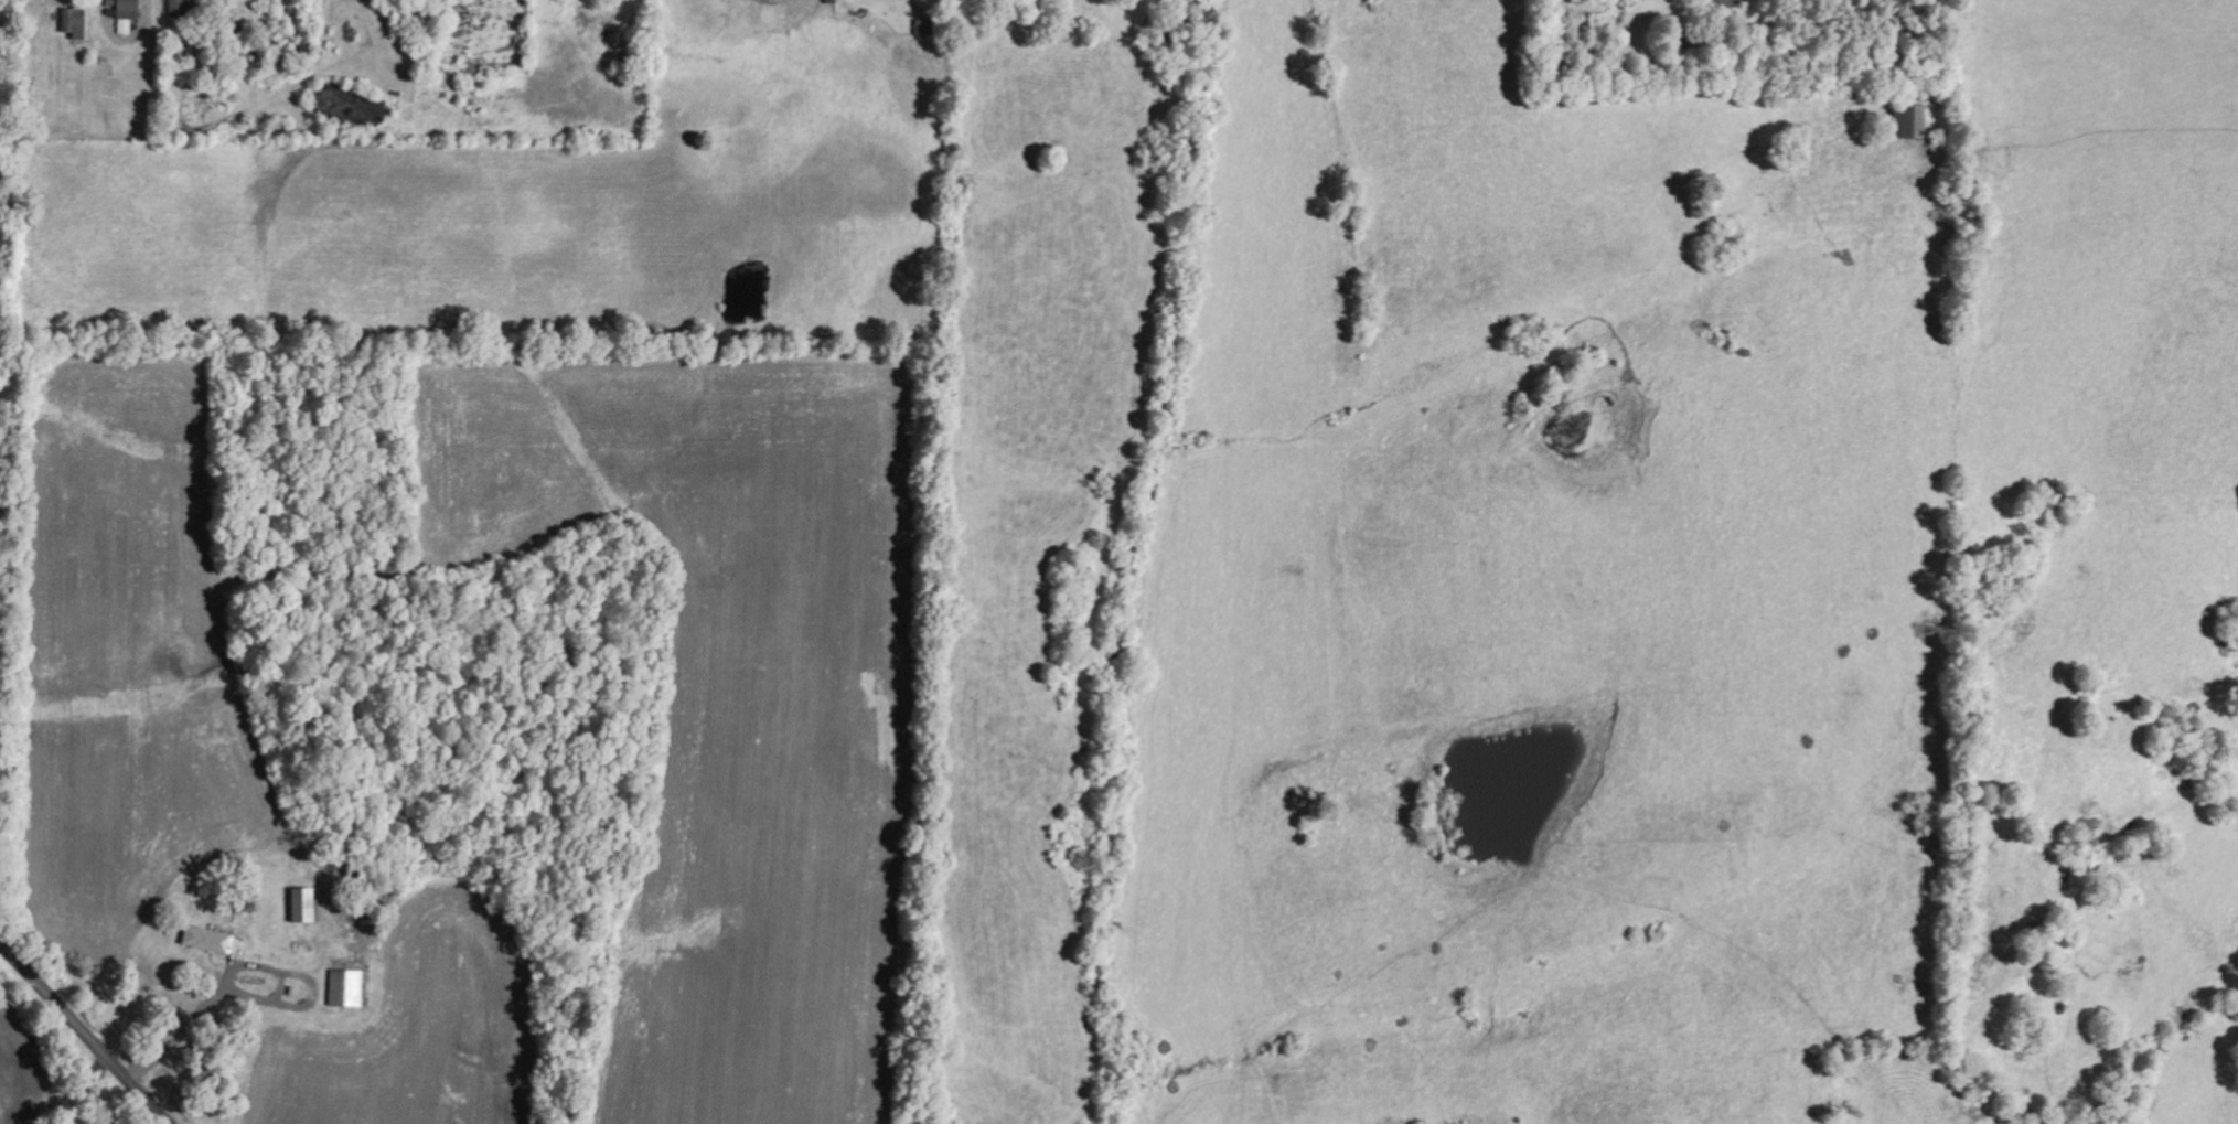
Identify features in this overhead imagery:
building: (232, 3)
building: (179, 7)
building: (1903, 121)
building: (303, 904)
building: (208, 938)
building: (347, 987)
road: (85, 1034)

